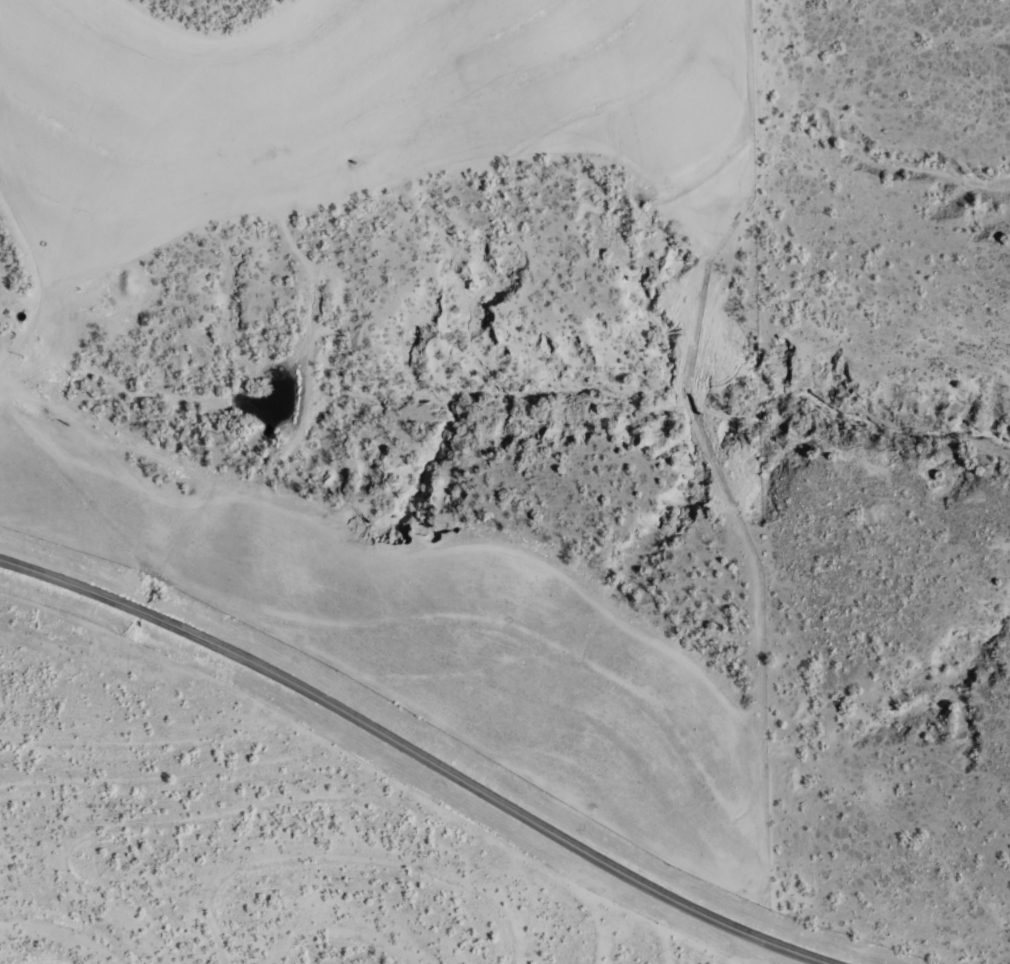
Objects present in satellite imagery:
road: (416, 750)

